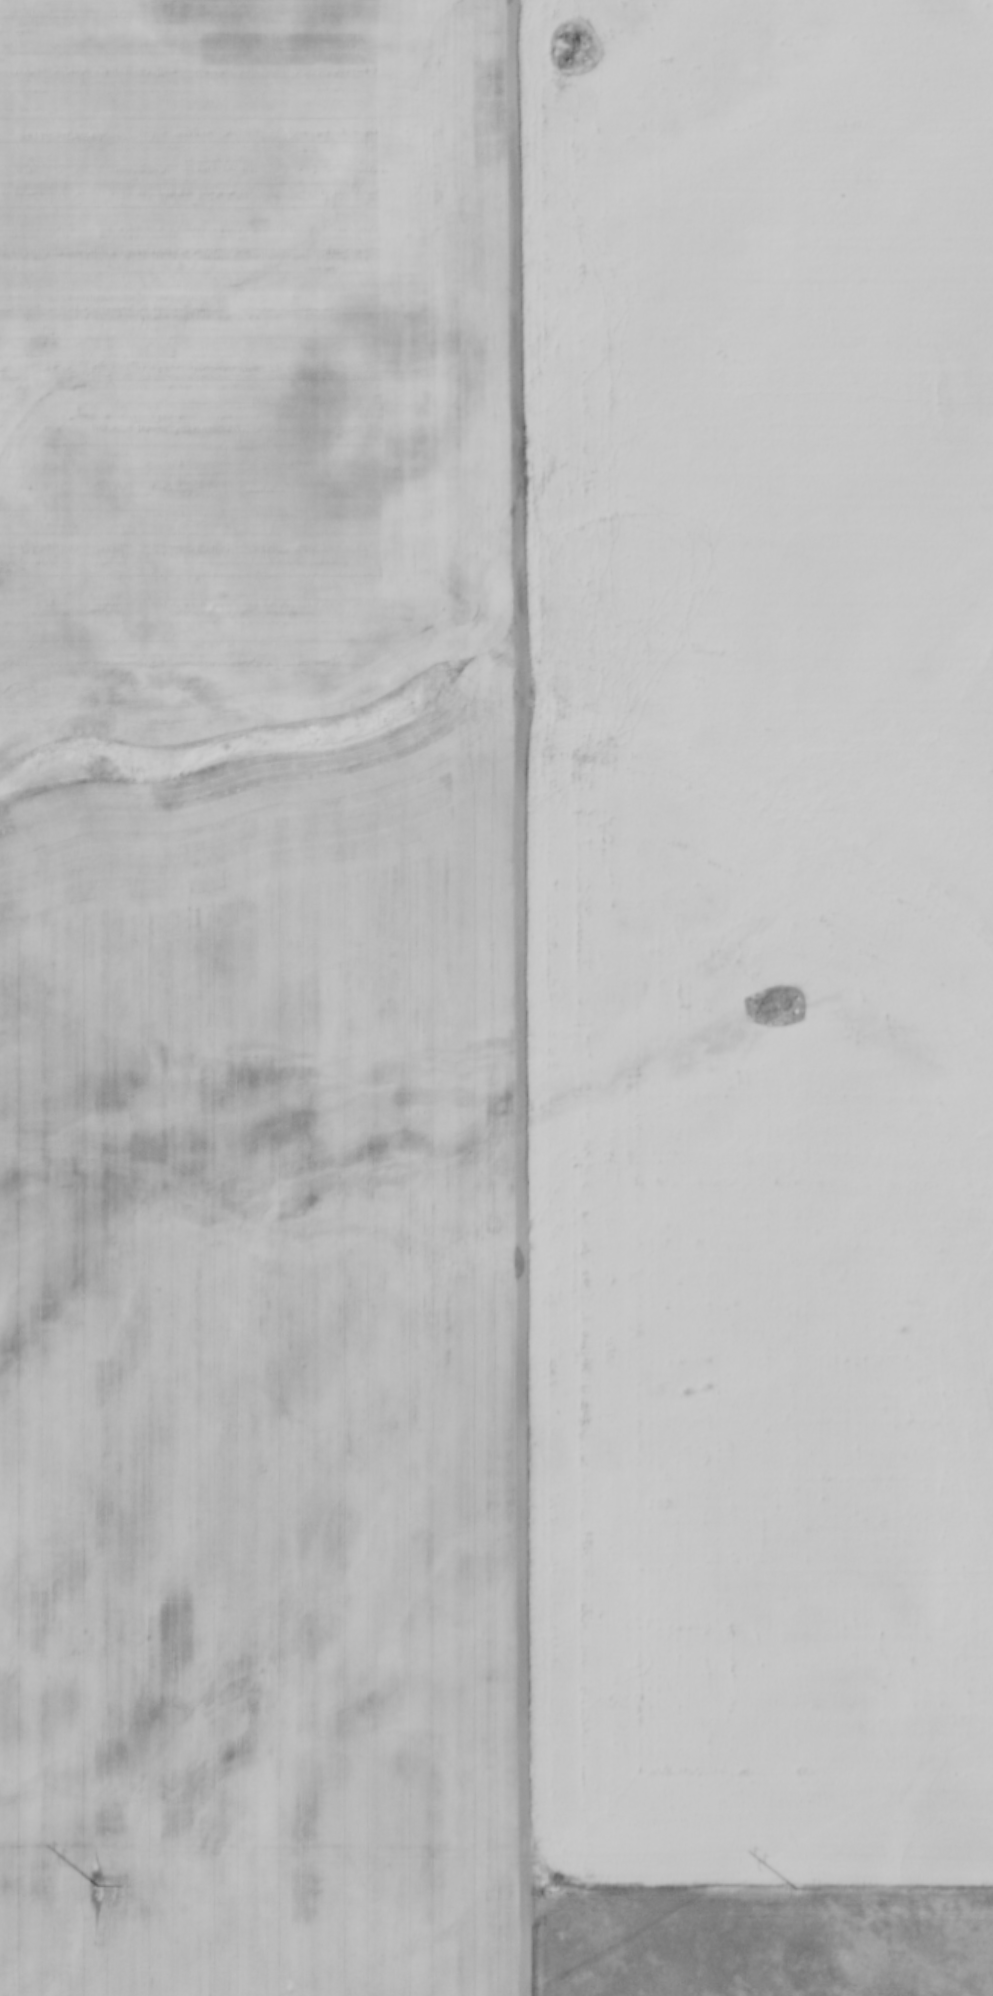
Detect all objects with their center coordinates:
road: (522, 997)
power tower: (93, 1884)
power tower: (792, 1886)

